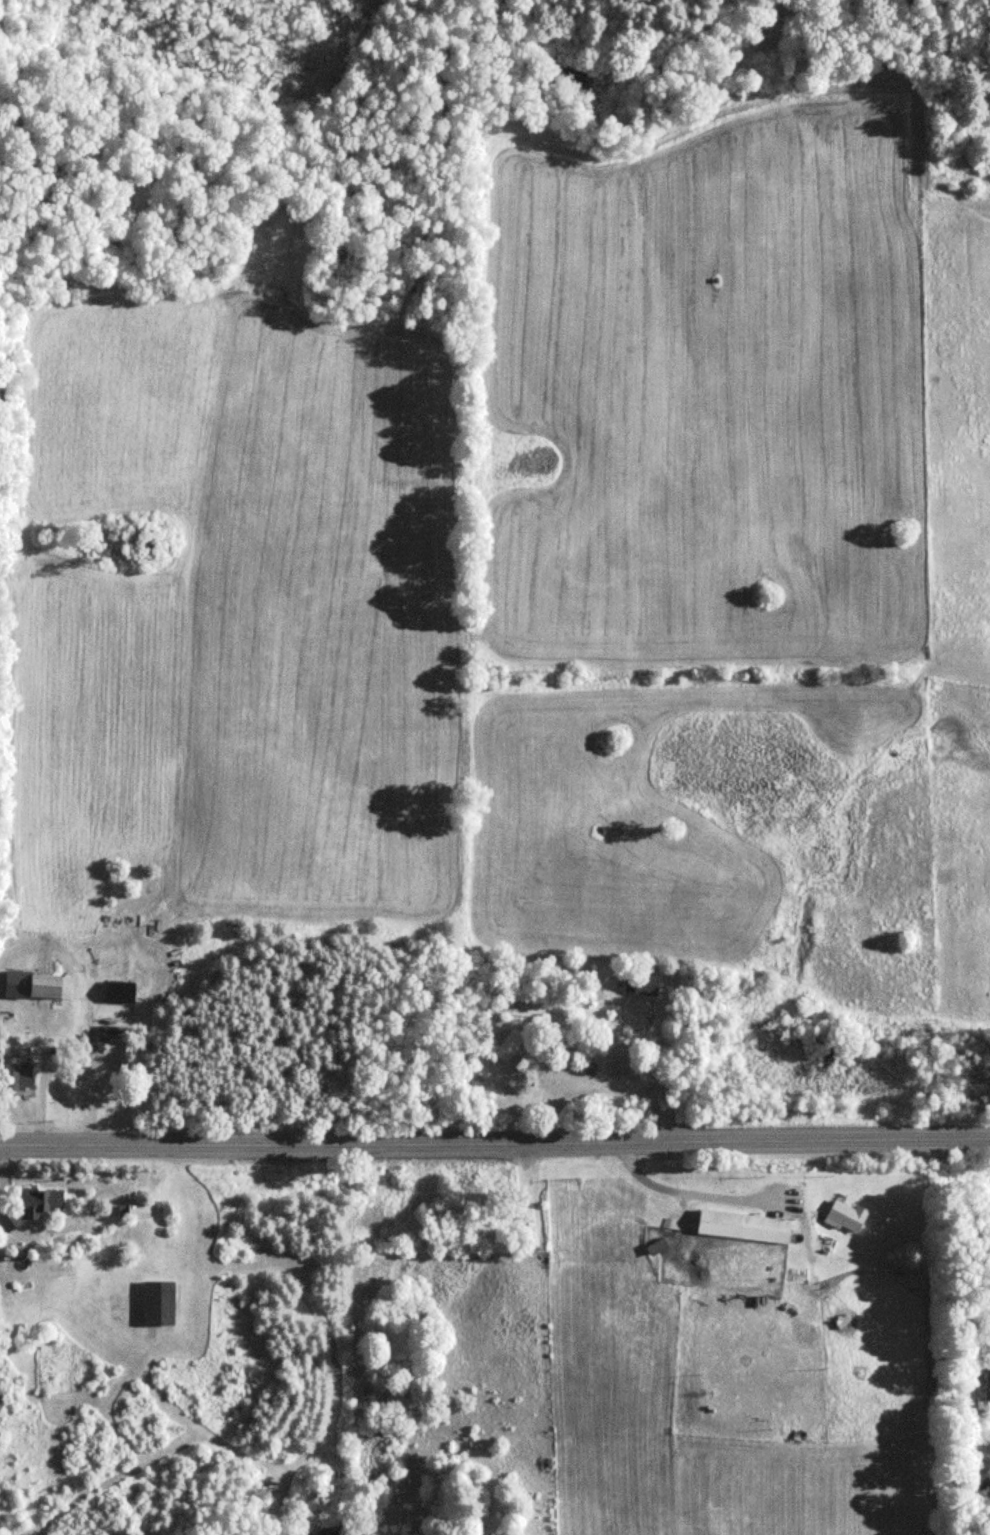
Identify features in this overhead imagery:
building: (636, 982)
building: (45, 987)
building: (114, 992)
building: (108, 1034)
building: (507, 1045)
building: (565, 1046)
building: (20, 1076)
road: (495, 1141)
building: (32, 1206)
building: (133, 1211)
building: (844, 1215)
building: (743, 1226)
building: (655, 1247)
building: (158, 1303)
building: (987, 1384)

